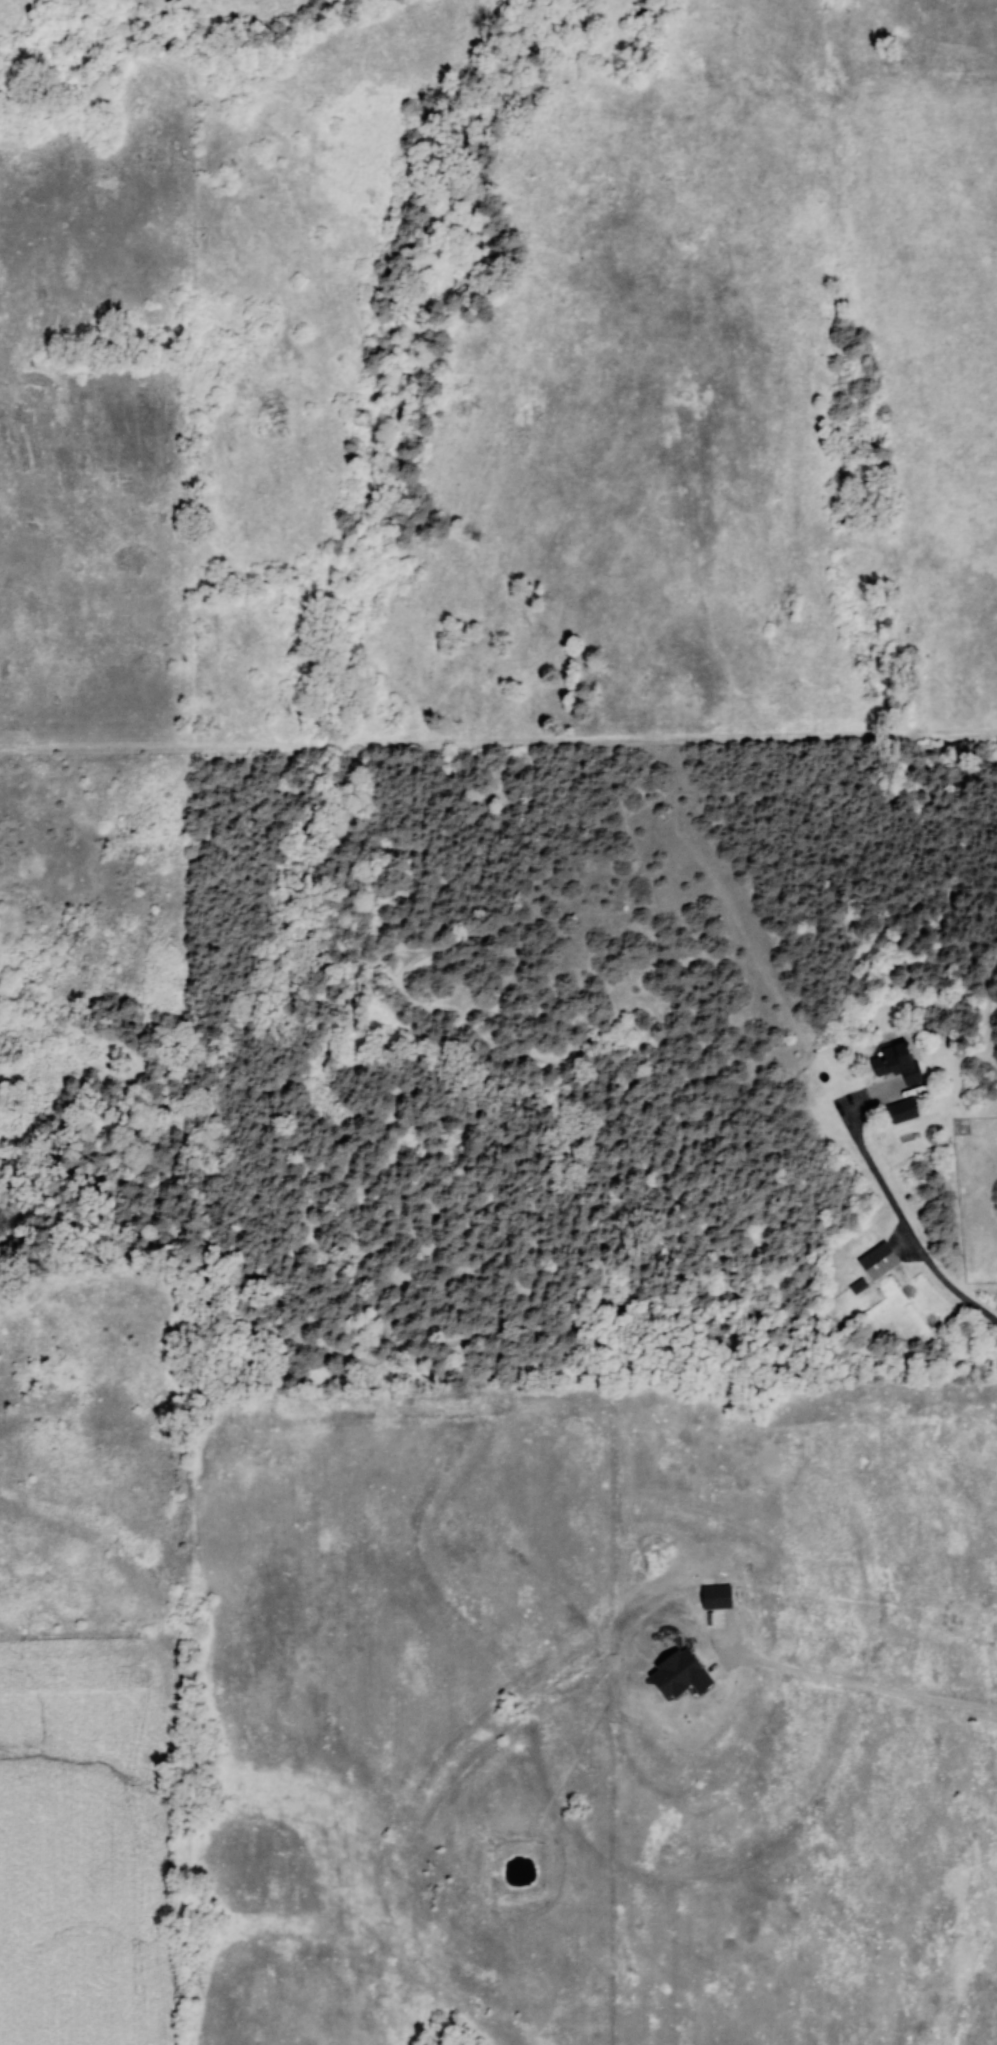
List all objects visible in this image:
building: (892, 1063)
road: (894, 1206)
building: (874, 1260)
road: (861, 1685)

